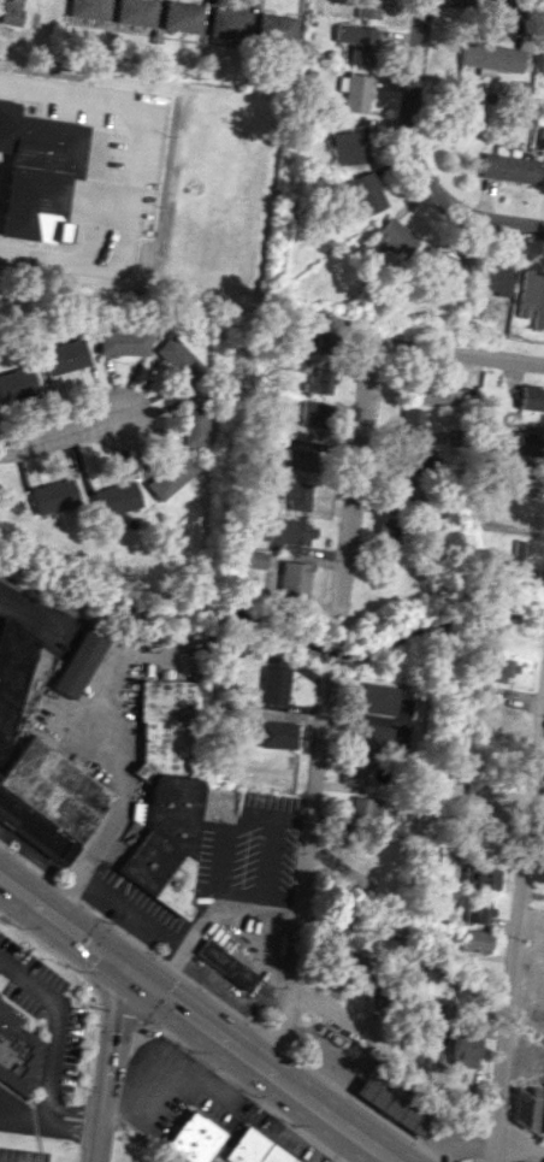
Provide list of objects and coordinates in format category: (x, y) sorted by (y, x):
road: (504, 5)
building: (367, 8)
building: (88, 10)
building: (136, 12)
building: (16, 14)
building: (182, 16)
building: (229, 23)
building: (276, 29)
building: (356, 42)
building: (490, 57)
building: (542, 65)
building: (353, 92)
road: (413, 101)
building: (467, 110)
building: (349, 144)
building: (508, 167)
road: (143, 170)
building: (35, 173)
building: (366, 193)
road: (490, 218)
building: (386, 241)
building: (439, 263)
building: (531, 297)
building: (122, 342)
building: (309, 343)
road: (457, 348)
building: (61, 356)
building: (177, 359)
building: (291, 362)
building: (319, 381)
building: (16, 383)
building: (433, 394)
building: (531, 397)
building: (311, 413)
building: (193, 420)
building: (412, 421)
road: (60, 436)
building: (526, 443)
building: (297, 459)
building: (412, 462)
building: (522, 472)
building: (168, 476)
road: (354, 476)
building: (295, 494)
building: (52, 496)
building: (403, 496)
building: (114, 499)
building: (386, 527)
building: (289, 531)
building: (515, 554)
building: (292, 582)
road: (28, 620)
building: (77, 663)
building: (499, 668)
building: (11, 672)
building: (273, 685)
building: (377, 698)
building: (22, 712)
building: (403, 724)
building: (274, 735)
building: (371, 738)
building: (353, 772)
road: (136, 779)
building: (54, 789)
building: (478, 789)
building: (164, 797)
building: (365, 809)
building: (36, 830)
building: (486, 878)
road: (302, 879)
building: (479, 909)
road: (516, 927)
building: (475, 940)
building: (337, 942)
building: (224, 965)
building: (357, 968)
building: (428, 1021)
road: (199, 1022)
road: (55, 1024)
road: (376, 1039)
road: (173, 1042)
building: (463, 1043)
building: (16, 1051)
road: (206, 1052)
road: (111, 1066)
road: (191, 1069)
building: (525, 1108)
road: (52, 1117)
building: (542, 1120)
road: (520, 1133)
building: (194, 1138)
building: (254, 1150)

